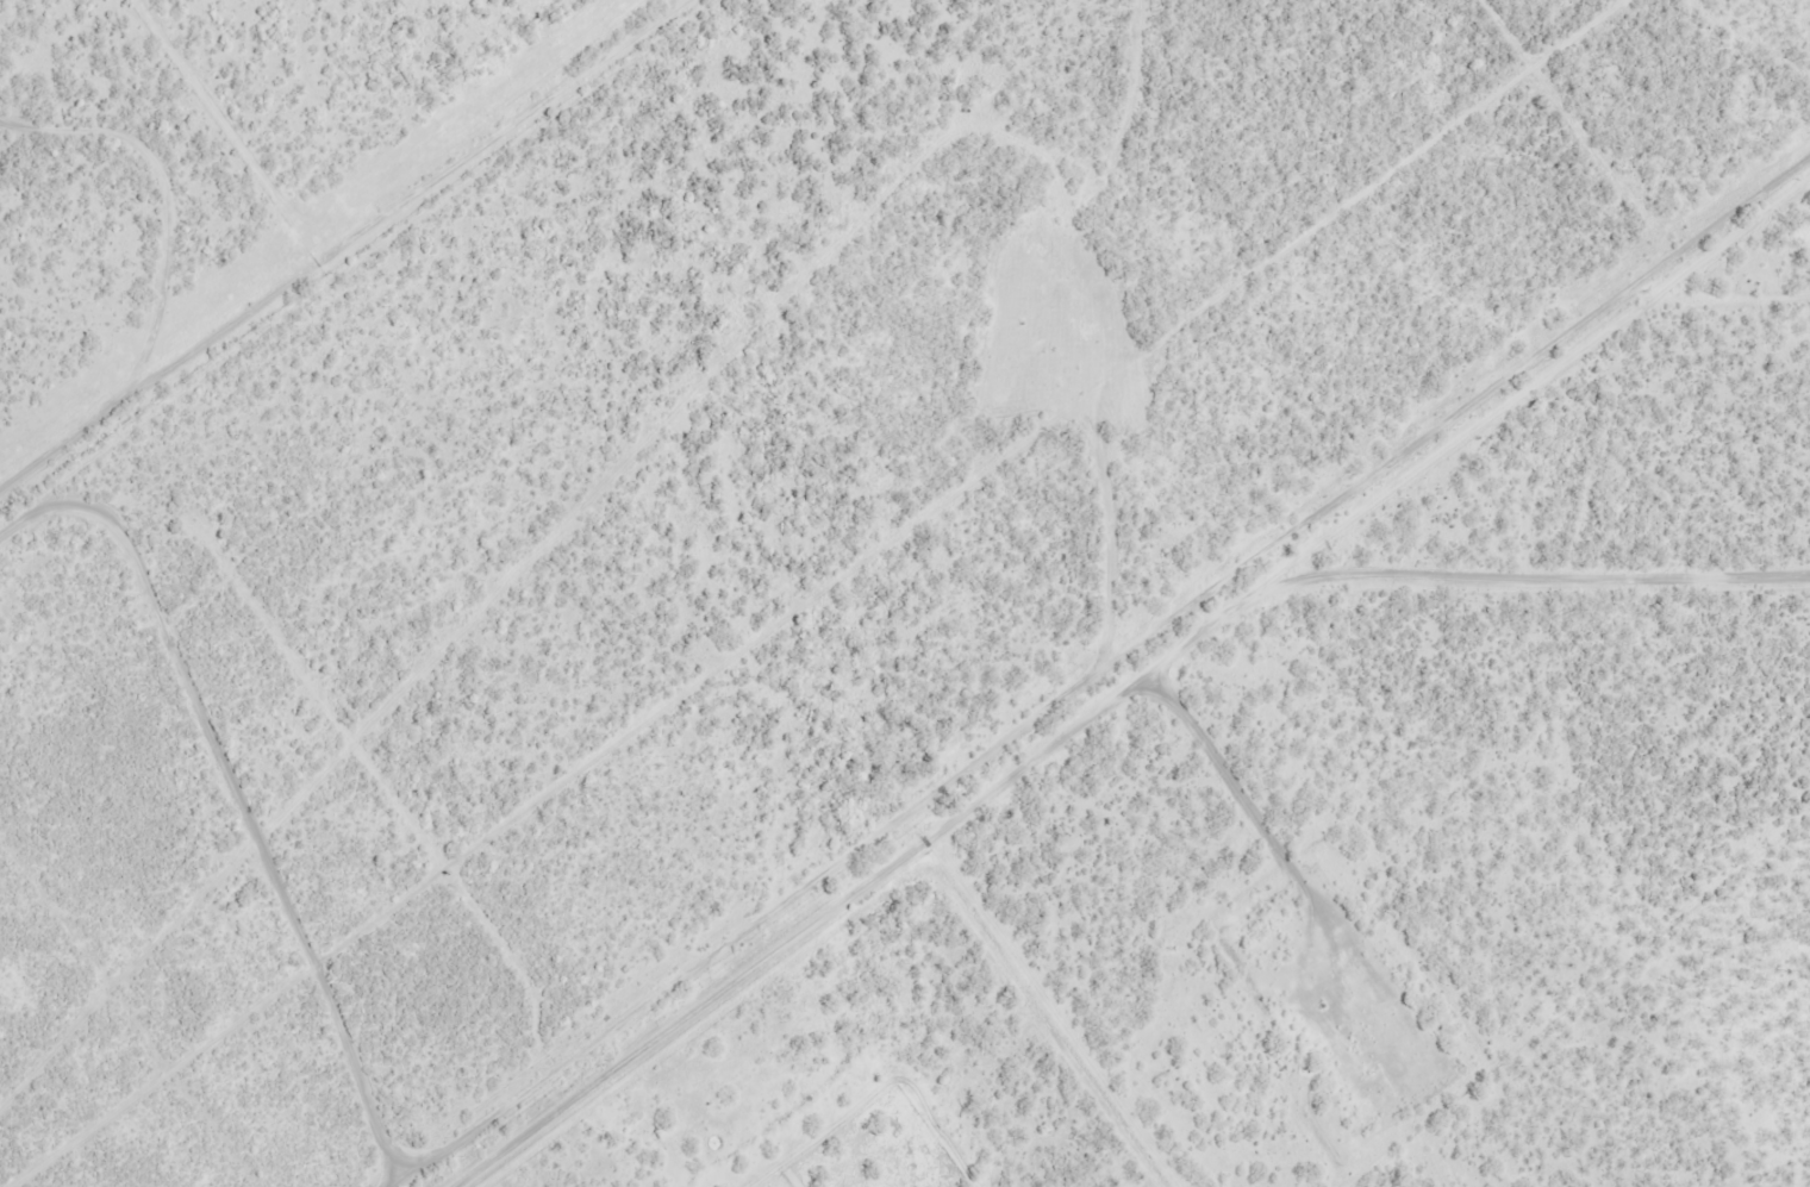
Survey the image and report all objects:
road: (352, 264)
road: (1140, 724)

